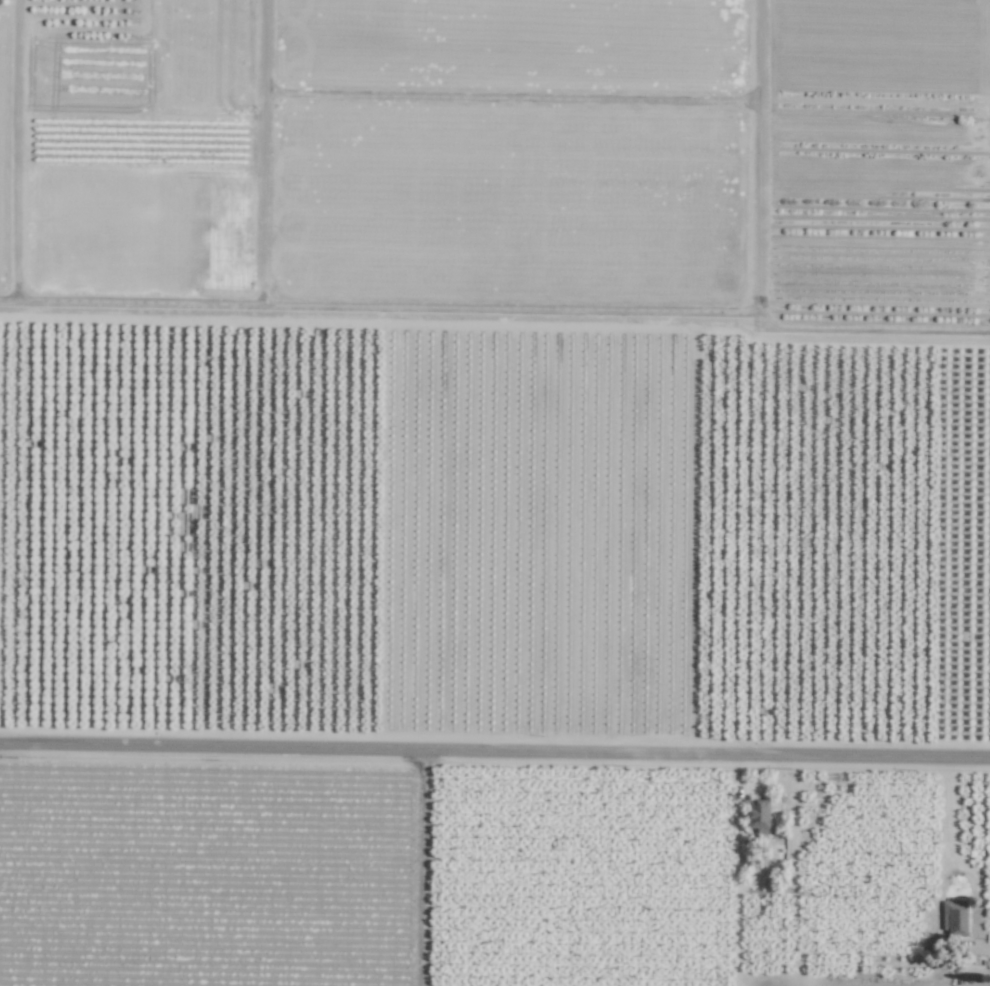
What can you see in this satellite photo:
road: (18, 141)
road: (262, 144)
crop: (499, 146)
road: (756, 149)
road: (376, 290)
road: (871, 295)
road: (494, 757)
building: (757, 817)
road: (959, 858)
building: (953, 918)

